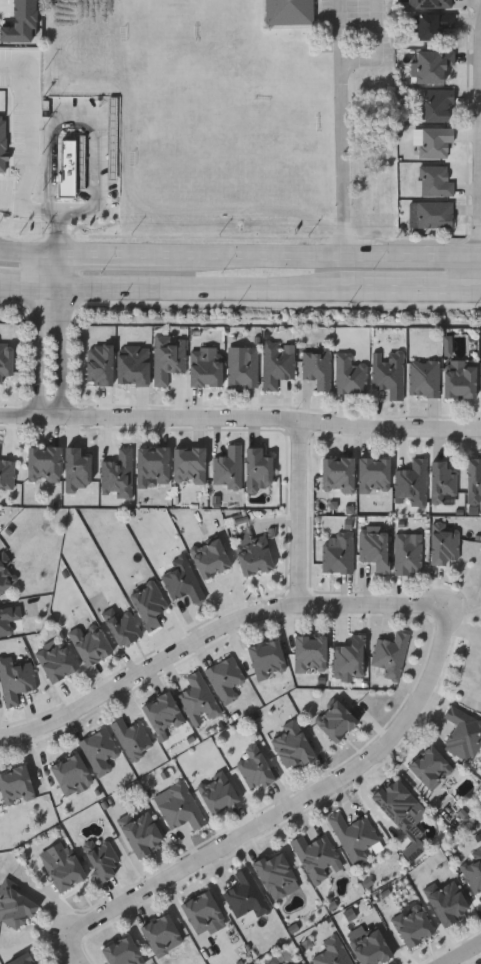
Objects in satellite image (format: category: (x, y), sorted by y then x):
building: (430, 4)
building: (289, 12)
building: (431, 25)
road: (347, 32)
road: (383, 44)
building: (431, 64)
building: (438, 103)
road: (95, 118)
building: (32, 126)
building: (2, 133)
road: (31, 136)
building: (435, 142)
road: (350, 161)
building: (71, 165)
building: (435, 180)
building: (12, 182)
road: (45, 212)
building: (435, 213)
road: (27, 253)
road: (110, 256)
road: (323, 258)
road: (21, 286)
road: (202, 290)
road: (422, 293)
road: (42, 335)
road: (63, 336)
building: (205, 365)
building: (277, 365)
building: (244, 368)
building: (318, 368)
building: (350, 374)
building: (389, 375)
building: (424, 377)
building: (460, 377)
road: (21, 416)
road: (261, 421)
building: (44, 463)
building: (189, 463)
building: (229, 467)
building: (257, 467)
building: (7, 473)
building: (338, 473)
building: (374, 473)
building: (473, 478)
building: (442, 480)
building: (413, 481)
road: (300, 513)
building: (445, 545)
building: (375, 549)
building: (254, 552)
building: (338, 552)
building: (409, 552)
building: (210, 557)
building: (5, 576)
building: (183, 580)
building: (149, 604)
building: (9, 617)
building: (122, 624)
road: (212, 632)
building: (90, 642)
building: (310, 652)
building: (391, 654)
building: (267, 658)
building: (350, 658)
building: (57, 660)
building: (226, 677)
building: (17, 679)
building: (198, 699)
building: (163, 713)
building: (336, 720)
building: (463, 732)
building: (132, 735)
building: (291, 744)
building: (100, 750)
building: (256, 766)
building: (430, 766)
building: (71, 773)
building: (16, 784)
building: (217, 793)
building: (399, 803)
building: (179, 805)
road: (297, 805)
building: (143, 833)
building: (354, 835)
building: (315, 854)
building: (101, 857)
building: (472, 868)
building: (65, 869)
building: (275, 873)
building: (246, 894)
building: (448, 901)
building: (16, 904)
building: (202, 911)
building: (413, 925)
building: (162, 932)
building: (369, 946)
building: (123, 951)
road: (79, 952)
building: (334, 953)
road: (462, 953)
building: (23, 959)

